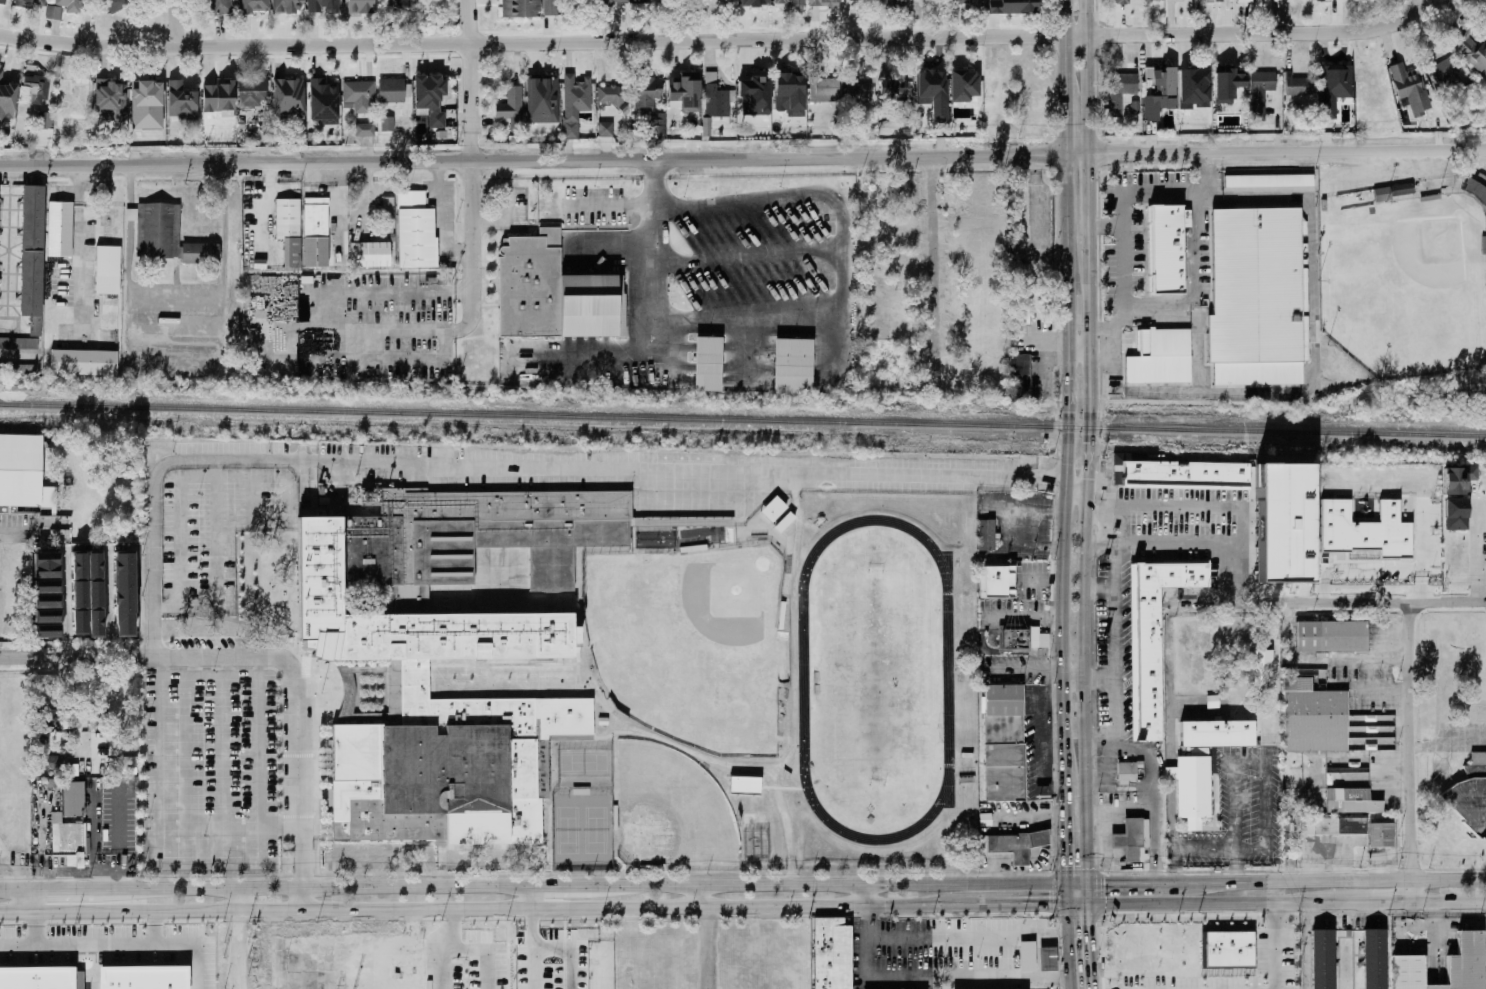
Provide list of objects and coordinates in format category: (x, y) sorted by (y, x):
building: (0, 1)
building: (644, 1)
building: (958, 1)
building: (1119, 1)
building: (1244, 1)
building: (611, 2)
building: (711, 2)
building: (816, 2)
building: (853, 2)
building: (30, 3)
building: (115, 3)
building: (402, 3)
building: (755, 4)
building: (891, 4)
building: (1018, 4)
building: (353, 5)
building: (512, 5)
building: (992, 5)
building: (250, 6)
building: (287, 6)
building: (321, 6)
building: (217, 7)
building: (548, 7)
building: (60, 8)
building: (774, 9)
road: (467, 21)
road: (174, 23)
road: (1274, 33)
road: (1074, 35)
road: (518, 41)
building: (1472, 43)
building: (1443, 74)
building: (1228, 81)
building: (1157, 83)
building: (1194, 83)
building: (1032, 84)
building: (1329, 84)
building: (36, 85)
building: (963, 85)
building: (1405, 85)
building: (1297, 87)
building: (284, 88)
building: (892, 88)
building: (1001, 88)
building: (824, 89)
building: (71, 90)
building: (390, 90)
building: (684, 91)
building: (251, 92)
building: (787, 92)
building: (857, 92)
building: (1119, 92)
building: (1258, 93)
building: (754, 94)
building: (324, 95)
building: (357, 95)
building: (609, 96)
building: (927, 96)
building: (430, 97)
building: (715, 97)
building: (7, 98)
building: (105, 98)
building: (141, 98)
building: (178, 100)
building: (541, 100)
building: (648, 104)
building: (511, 107)
building: (1135, 107)
building: (574, 108)
building: (387, 123)
building: (364, 129)
building: (605, 129)
building: (39, 133)
road: (1296, 152)
road: (1076, 155)
road: (523, 161)
road: (470, 179)
building: (1480, 179)
building: (1268, 180)
building: (1475, 190)
building: (1392, 192)
road: (259, 197)
building: (1016, 212)
building: (388, 214)
road: (1122, 225)
road: (1105, 226)
building: (63, 228)
building: (160, 229)
building: (291, 229)
building: (418, 230)
building: (320, 232)
road: (654, 244)
road: (78, 247)
building: (1168, 248)
building: (35, 249)
building: (203, 253)
building: (372, 253)
building: (110, 269)
road: (931, 272)
park: (1405, 284)
road: (1200, 290)
building: (552, 293)
building: (1258, 295)
building: (1019, 307)
road: (177, 313)
road: (327, 316)
building: (20, 342)
road: (1078, 347)
road: (18, 352)
building: (1163, 356)
building: (86, 361)
building: (706, 363)
building: (791, 365)
building: (16, 371)
building: (1018, 377)
road: (1068, 379)
railway: (742, 420)
road: (1088, 442)
road: (515, 465)
building: (18, 468)
building: (1181, 472)
building: (1462, 478)
road: (1075, 492)
road: (1148, 504)
building: (773, 508)
building: (1459, 513)
building: (1279, 521)
building: (784, 522)
building: (1366, 529)
road: (0, 530)
road: (213, 533)
building: (984, 535)
road: (1167, 539)
road: (1476, 550)
building: (46, 565)
road: (1232, 572)
building: (996, 582)
building: (46, 586)
building: (79, 593)
building: (95, 594)
building: (124, 594)
road: (107, 604)
road: (1325, 604)
road: (64, 606)
building: (47, 608)
road: (1023, 618)
building: (47, 630)
building: (1151, 634)
building: (1333, 635)
building: (1014, 639)
building: (1039, 641)
park: (688, 643)
road: (1112, 643)
building: (440, 651)
road: (1008, 652)
road: (256, 656)
road: (69, 658)
road: (1359, 660)
road: (192, 666)
road: (225, 666)
building: (1262, 667)
road: (218, 675)
road: (1098, 677)
track: (802, 678)
road: (1073, 678)
road: (1383, 689)
flagpole: (320, 692)
building: (1315, 716)
building: (47, 717)
building: (1219, 732)
building: (570, 737)
building: (1273, 738)
building: (1006, 744)
road: (261, 750)
road: (225, 751)
building: (44, 753)
road: (1411, 753)
park: (583, 763)
road: (1262, 764)
road: (1150, 766)
building: (1130, 771)
building: (744, 784)
road: (295, 785)
building: (1195, 786)
building: (1470, 795)
park: (668, 810)
road: (161, 811)
building: (1355, 817)
road: (1062, 821)
park: (581, 831)
building: (1136, 840)
building: (67, 842)
building: (1020, 844)
road: (1188, 850)
road: (300, 856)
traffic signals: (1063, 866)
road: (1236, 866)
road: (11, 875)
road: (1341, 882)
road: (1074, 884)
traffic signals: (1103, 884)
road: (1117, 884)
road: (1173, 884)
road: (531, 886)
road: (692, 895)
road: (863, 895)
road: (1063, 895)
road: (532, 897)
road: (245, 900)
road: (301, 900)
road: (1448, 901)
road: (1366, 902)
road: (1204, 903)
road: (1013, 905)
traffic signals: (1048, 905)
road: (470, 908)
traffic signals: (1087, 923)
road: (532, 927)
road: (451, 928)
road: (968, 935)
road: (413, 936)
road: (706, 936)
road: (1087, 936)
road: (185, 940)
road: (1306, 945)
road: (1277, 946)
road: (1067, 947)
road: (571, 948)
building: (1229, 948)
road: (242, 950)
road: (486, 951)
building: (829, 953)
parking lot: (930, 955)
building: (1024, 956)
building: (1045, 957)
building: (1318, 959)
building: (1371, 959)
road: (441, 965)
road: (533, 967)
building: (1464, 967)
building: (311, 968)
building: (138, 976)
building: (35, 977)
road: (934, 977)

